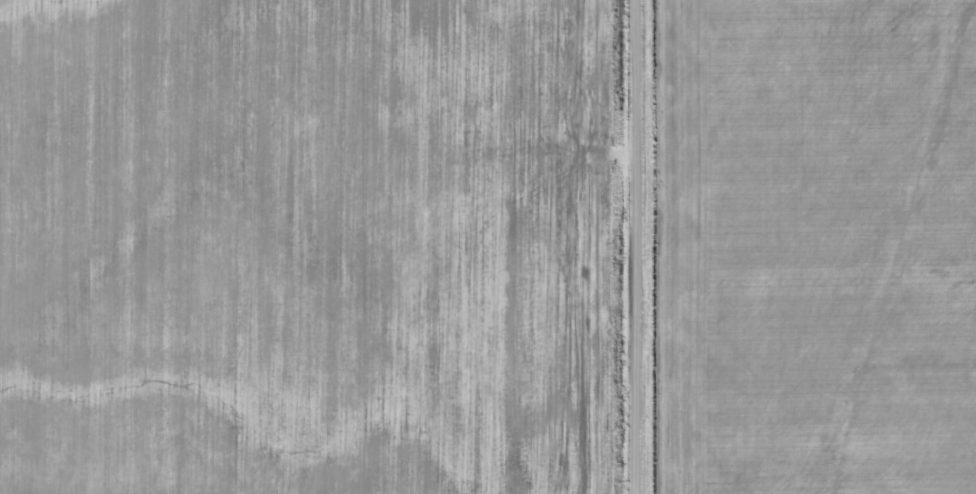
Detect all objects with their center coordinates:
road: (633, 247)

